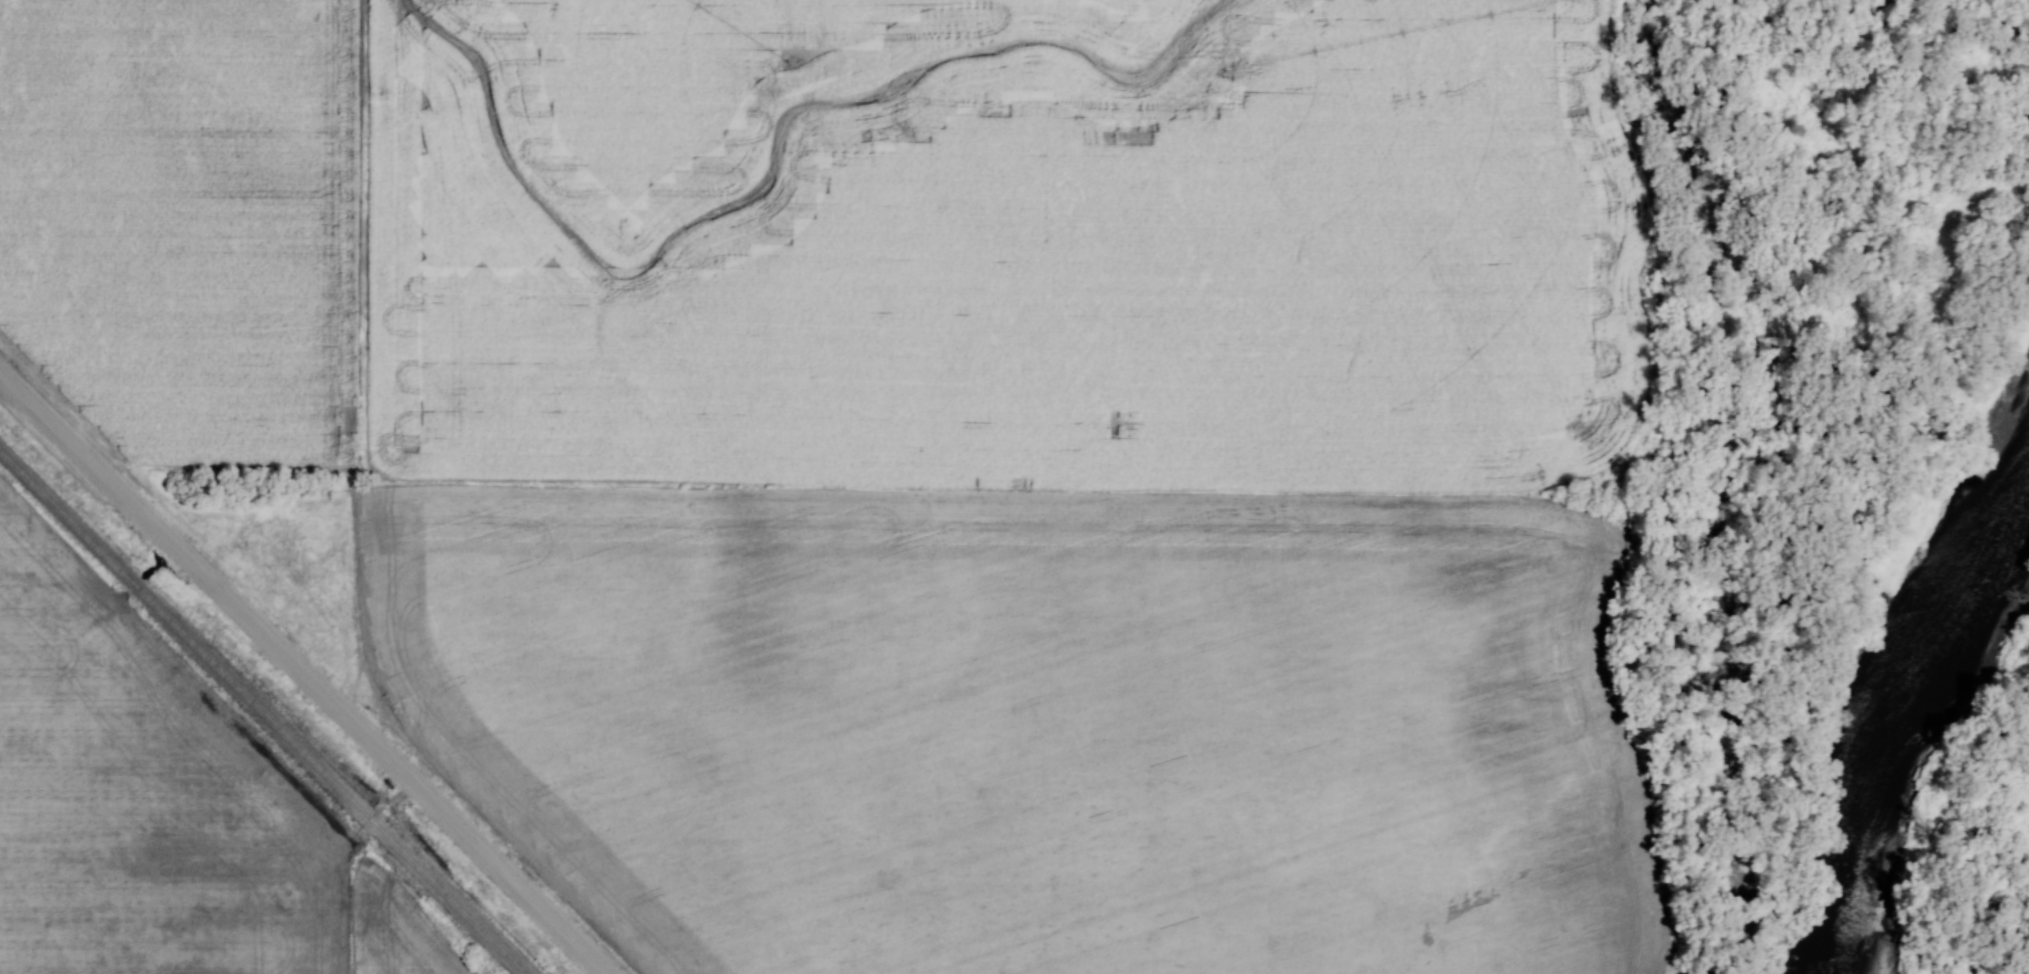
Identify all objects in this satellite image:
road: (300, 674)
railway: (266, 708)
river: (1904, 713)

